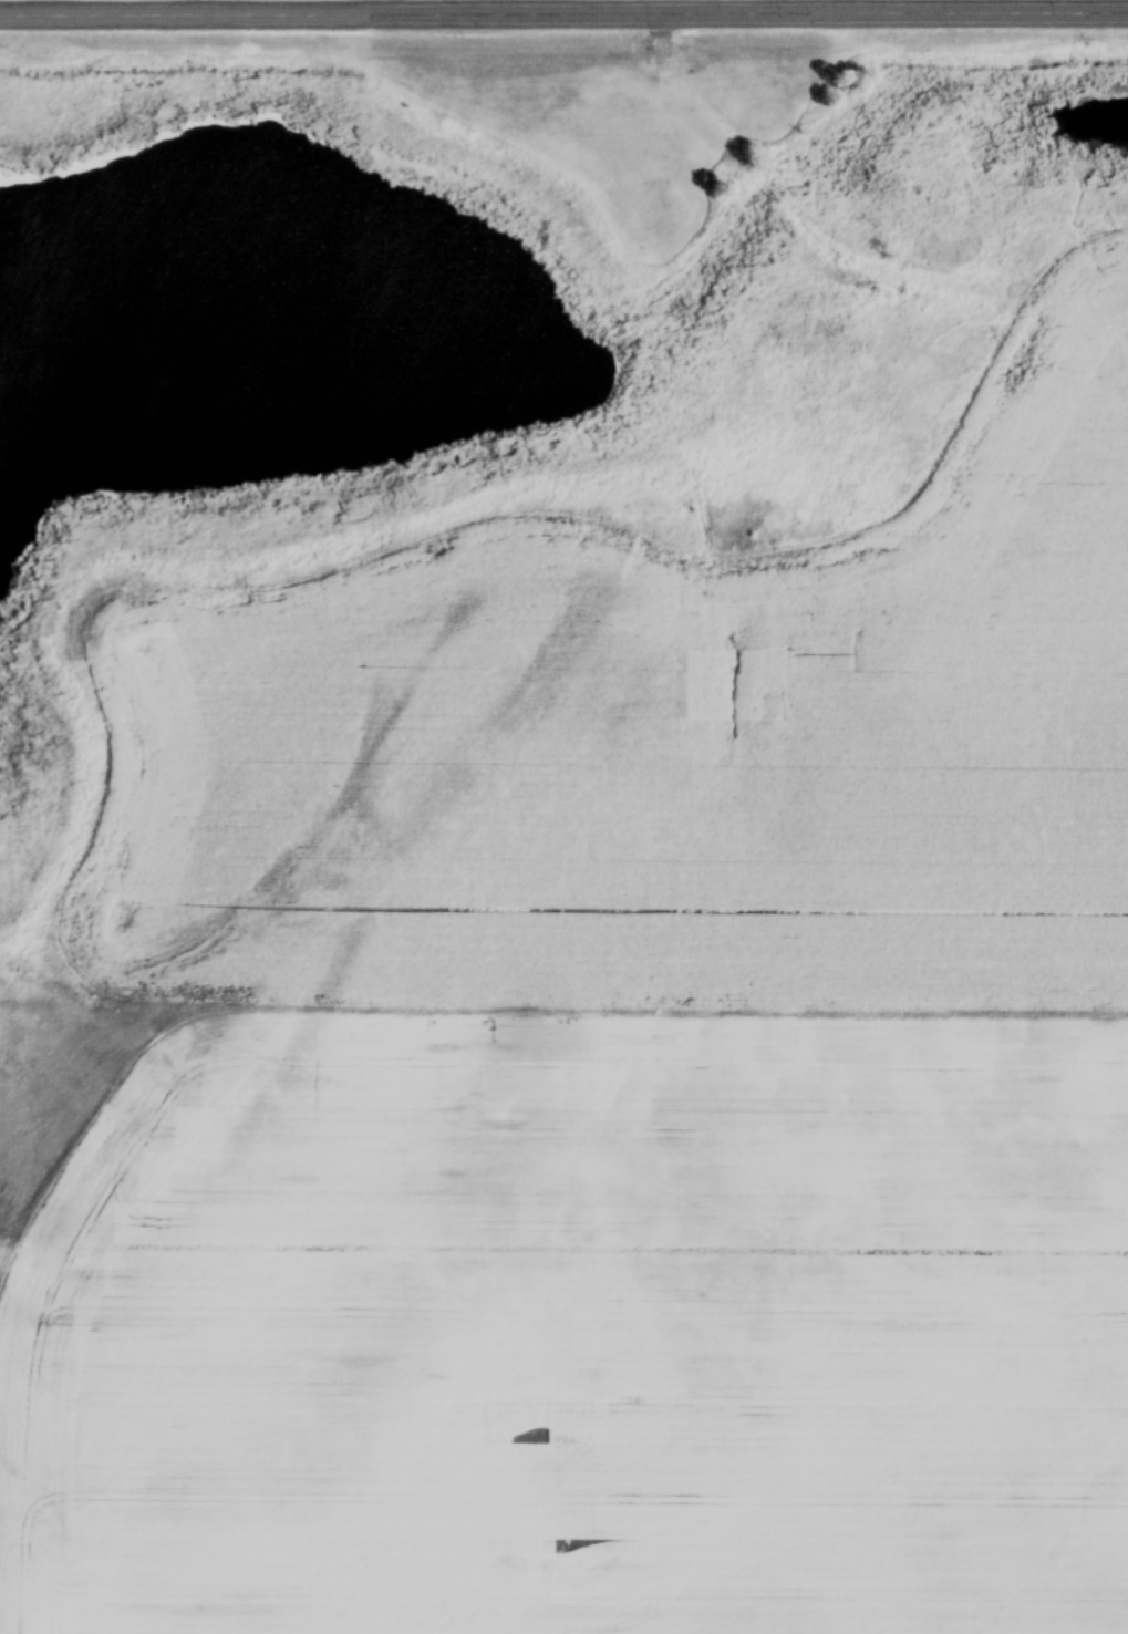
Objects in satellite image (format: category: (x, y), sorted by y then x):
road: (669, 9)
road: (563, 18)
river: (1056, 97)
river: (394, 322)

